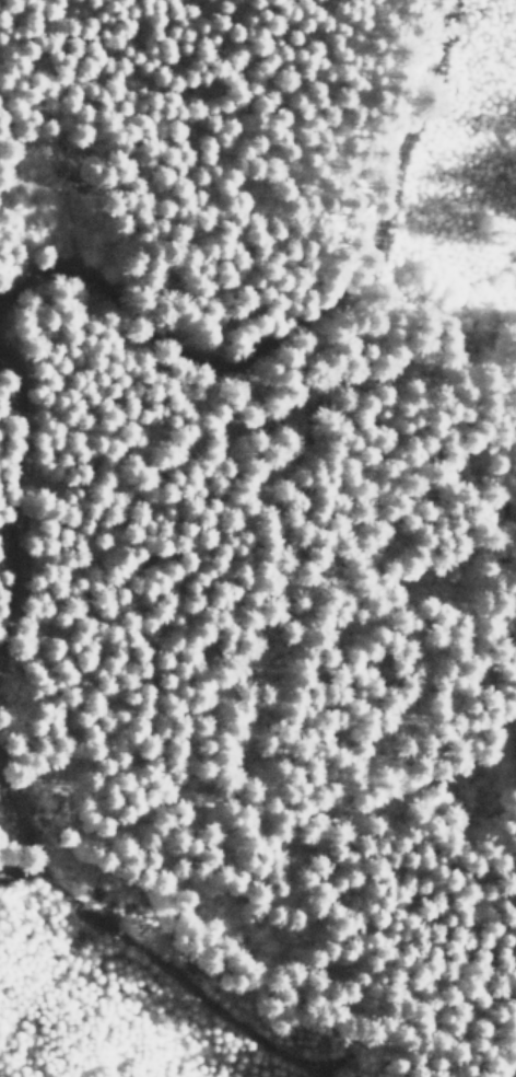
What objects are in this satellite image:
road: (275, 250)

